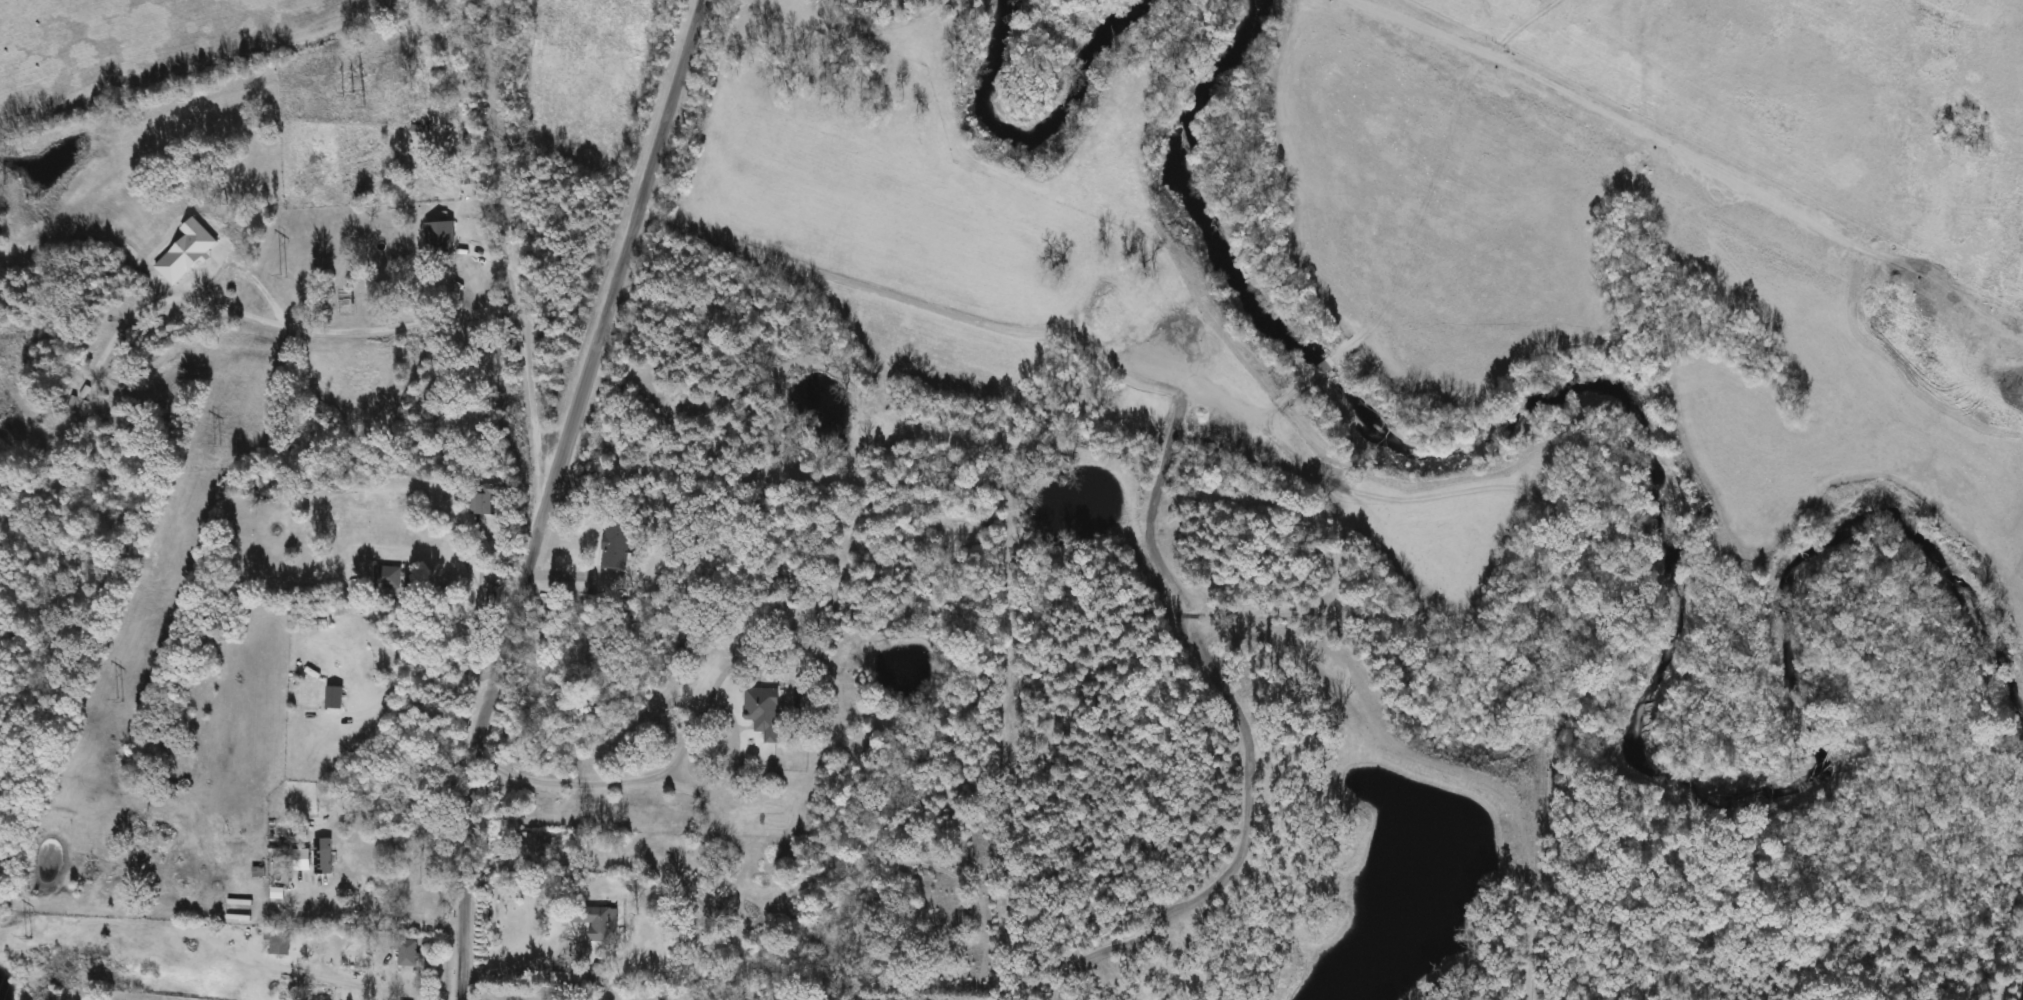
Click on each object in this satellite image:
road: (511, 248)
road: (346, 334)
road: (760, 342)
building: (115, 379)
building: (76, 406)
road: (544, 493)
building: (489, 499)
building: (616, 544)
road: (573, 571)
road: (475, 620)
building: (336, 698)
building: (765, 712)
road: (634, 781)
building: (146, 827)
building: (324, 862)
building: (604, 923)
road: (370, 924)
building: (278, 942)
building: (409, 953)
road: (525, 970)

